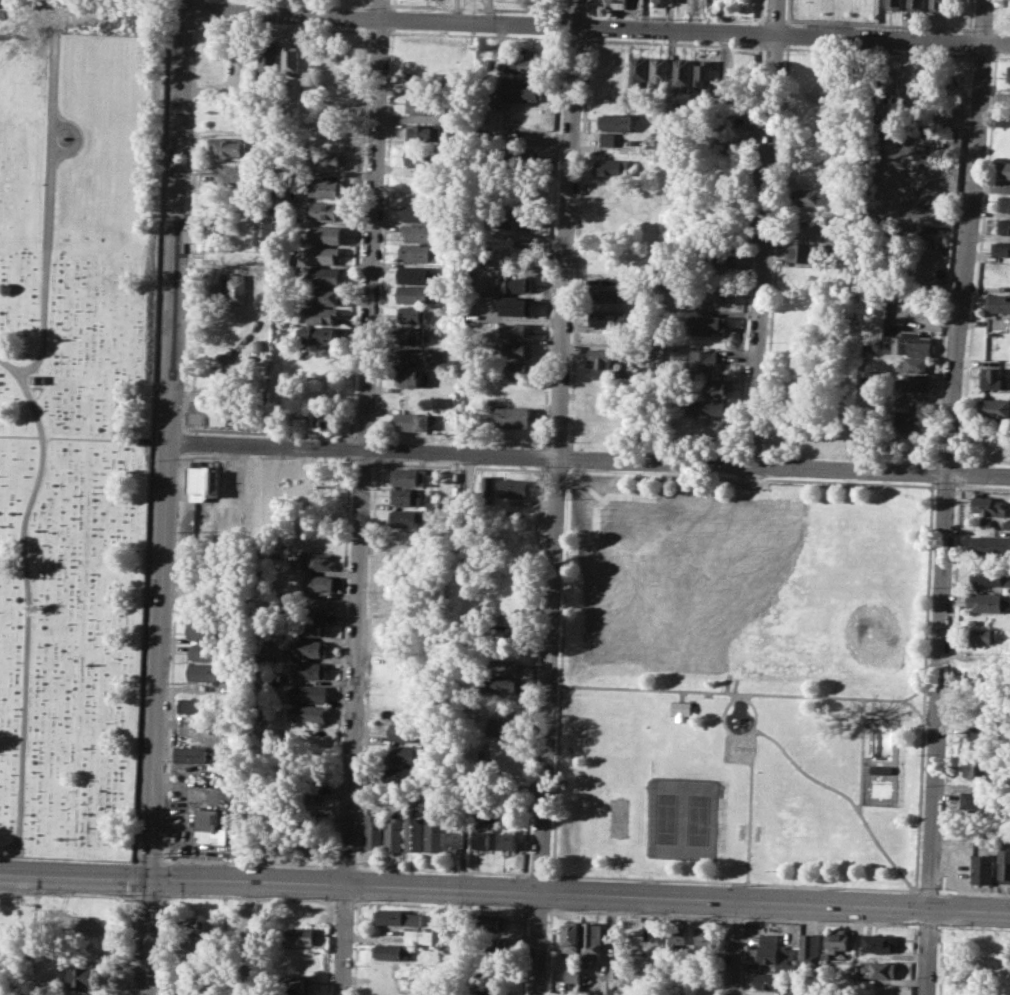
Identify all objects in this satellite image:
building: (661, 2)
road: (394, 4)
building: (617, 4)
building: (892, 4)
building: (914, 5)
building: (937, 5)
road: (562, 7)
road: (588, 8)
road: (996, 16)
road: (393, 17)
road: (561, 25)
road: (587, 26)
road: (597, 26)
road: (477, 35)
road: (573, 39)
road: (587, 39)
road: (996, 42)
road: (773, 47)
road: (877, 51)
road: (999, 56)
road: (981, 57)
road: (992, 57)
building: (269, 58)
building: (525, 60)
building: (289, 62)
building: (639, 68)
building: (658, 73)
building: (681, 73)
building: (1008, 74)
building: (701, 77)
building: (426, 81)
road: (994, 82)
building: (889, 84)
building: (909, 85)
building: (928, 86)
building: (523, 88)
building: (425, 104)
building: (615, 122)
building: (330, 131)
building: (423, 131)
building: (608, 139)
building: (725, 139)
road: (78, 140)
building: (227, 145)
building: (653, 153)
road: (582, 155)
building: (422, 157)
building: (524, 157)
building: (329, 160)
building: (612, 166)
building: (1004, 169)
building: (809, 180)
building: (325, 186)
building: (809, 196)
building: (1003, 203)
road: (48, 209)
building: (325, 210)
building: (421, 211)
building: (515, 217)
building: (264, 223)
building: (1003, 225)
building: (420, 232)
road: (763, 232)
building: (324, 234)
road: (551, 242)
building: (999, 248)
building: (422, 252)
building: (806, 253)
building: (322, 254)
building: (716, 258)
building: (420, 273)
building: (805, 273)
building: (325, 275)
building: (516, 283)
building: (213, 286)
building: (236, 288)
building: (612, 290)
building: (710, 292)
building: (419, 294)
building: (322, 295)
building: (997, 302)
building: (518, 306)
building: (320, 314)
building: (413, 315)
building: (874, 315)
road: (923, 315)
building: (610, 318)
building: (708, 325)
building: (516, 329)
building: (319, 335)
building: (412, 335)
building: (902, 344)
building: (516, 350)
building: (412, 356)
building: (601, 356)
building: (701, 363)
building: (445, 365)
building: (913, 365)
building: (512, 370)
building: (408, 377)
building: (991, 378)
building: (911, 383)
building: (714, 389)
road: (937, 389)
building: (993, 407)
building: (706, 408)
park: (78, 413)
building: (326, 414)
building: (208, 417)
building: (512, 417)
building: (410, 421)
building: (910, 421)
building: (832, 435)
road: (557, 445)
road: (568, 445)
road: (570, 457)
road: (586, 460)
road: (570, 468)
road: (932, 471)
building: (408, 476)
building: (201, 480)
road: (845, 481)
building: (487, 482)
road: (931, 482)
road: (933, 485)
road: (979, 487)
road: (943, 488)
building: (513, 489)
building: (406, 496)
road: (944, 496)
road: (161, 497)
road: (362, 497)
road: (556, 497)
building: (989, 506)
building: (405, 518)
building: (989, 544)
building: (319, 561)
building: (989, 577)
building: (319, 582)
street lamp: (930, 586)
road: (28, 598)
building: (984, 601)
building: (317, 604)
park: (844, 605)
building: (311, 626)
building: (202, 630)
building: (983, 634)
building: (310, 649)
building: (205, 652)
building: (506, 666)
building: (309, 669)
building: (207, 671)
building: (983, 673)
park: (743, 679)
building: (506, 683)
street lamp: (927, 684)
road: (914, 691)
building: (307, 693)
road: (745, 693)
road: (740, 695)
building: (194, 705)
building: (682, 709)
building: (307, 713)
building: (504, 726)
building: (983, 729)
building: (404, 731)
building: (191, 754)
building: (405, 754)
road: (861, 754)
road: (752, 765)
building: (979, 766)
building: (880, 770)
building: (402, 776)
street lamp: (922, 785)
building: (309, 791)
road: (836, 793)
building: (977, 800)
park: (619, 817)
park: (665, 818)
park: (697, 819)
building: (209, 827)
building: (374, 831)
building: (395, 831)
building: (414, 833)
building: (435, 835)
building: (456, 837)
building: (481, 839)
building: (508, 840)
building: (311, 844)
street lamp: (165, 855)
street lamp: (356, 862)
building: (1005, 865)
building: (983, 868)
road: (556, 874)
traffic signals: (148, 875)
road: (553, 875)
road: (828, 886)
street lamp: (918, 886)
road: (505, 889)
road: (909, 889)
road: (927, 890)
street lamp: (30, 891)
road: (551, 891)
road: (914, 891)
road: (942, 892)
road: (974, 892)
road: (67, 894)
street lamp: (108, 894)
street lamp: (165, 895)
street lamp: (252, 895)
road: (246, 896)
road: (146, 897)
street lamp: (328, 899)
street lamp: (361, 900)
road: (344, 902)
street lamp: (441, 903)
road: (441, 905)
street lamp: (522, 907)
road: (914, 907)
street lamp: (560, 908)
road: (941, 908)
road: (538, 910)
road: (635, 912)
street lamp: (638, 912)
street lamp: (710, 914)
building: (397, 916)
road: (732, 916)
street lamp: (746, 917)
street lamp: (823, 919)
road: (828, 921)
building: (188, 922)
building: (492, 922)
street lamp: (902, 922)
street lamp: (944, 924)
road: (926, 925)
road: (938, 926)
road: (975, 927)
building: (21, 928)
street lamp: (740, 933)
building: (297, 935)
road: (246, 936)
building: (420, 936)
building: (572, 936)
building: (704, 936)
building: (678, 937)
building: (191, 941)
building: (593, 941)
building: (839, 942)
building: (880, 943)
building: (491, 946)
road: (733, 947)
building: (810, 950)
building: (391, 951)
road: (549, 951)
building: (769, 951)
building: (296, 957)
road: (912, 958)
road: (938, 959)
street lamp: (352, 965)
building: (879, 969)
building: (489, 970)
building: (80, 975)
building: (580, 976)
building: (766, 981)
building: (295, 984)
building: (487, 992)
building: (793, 992)
building: (192, 993)

